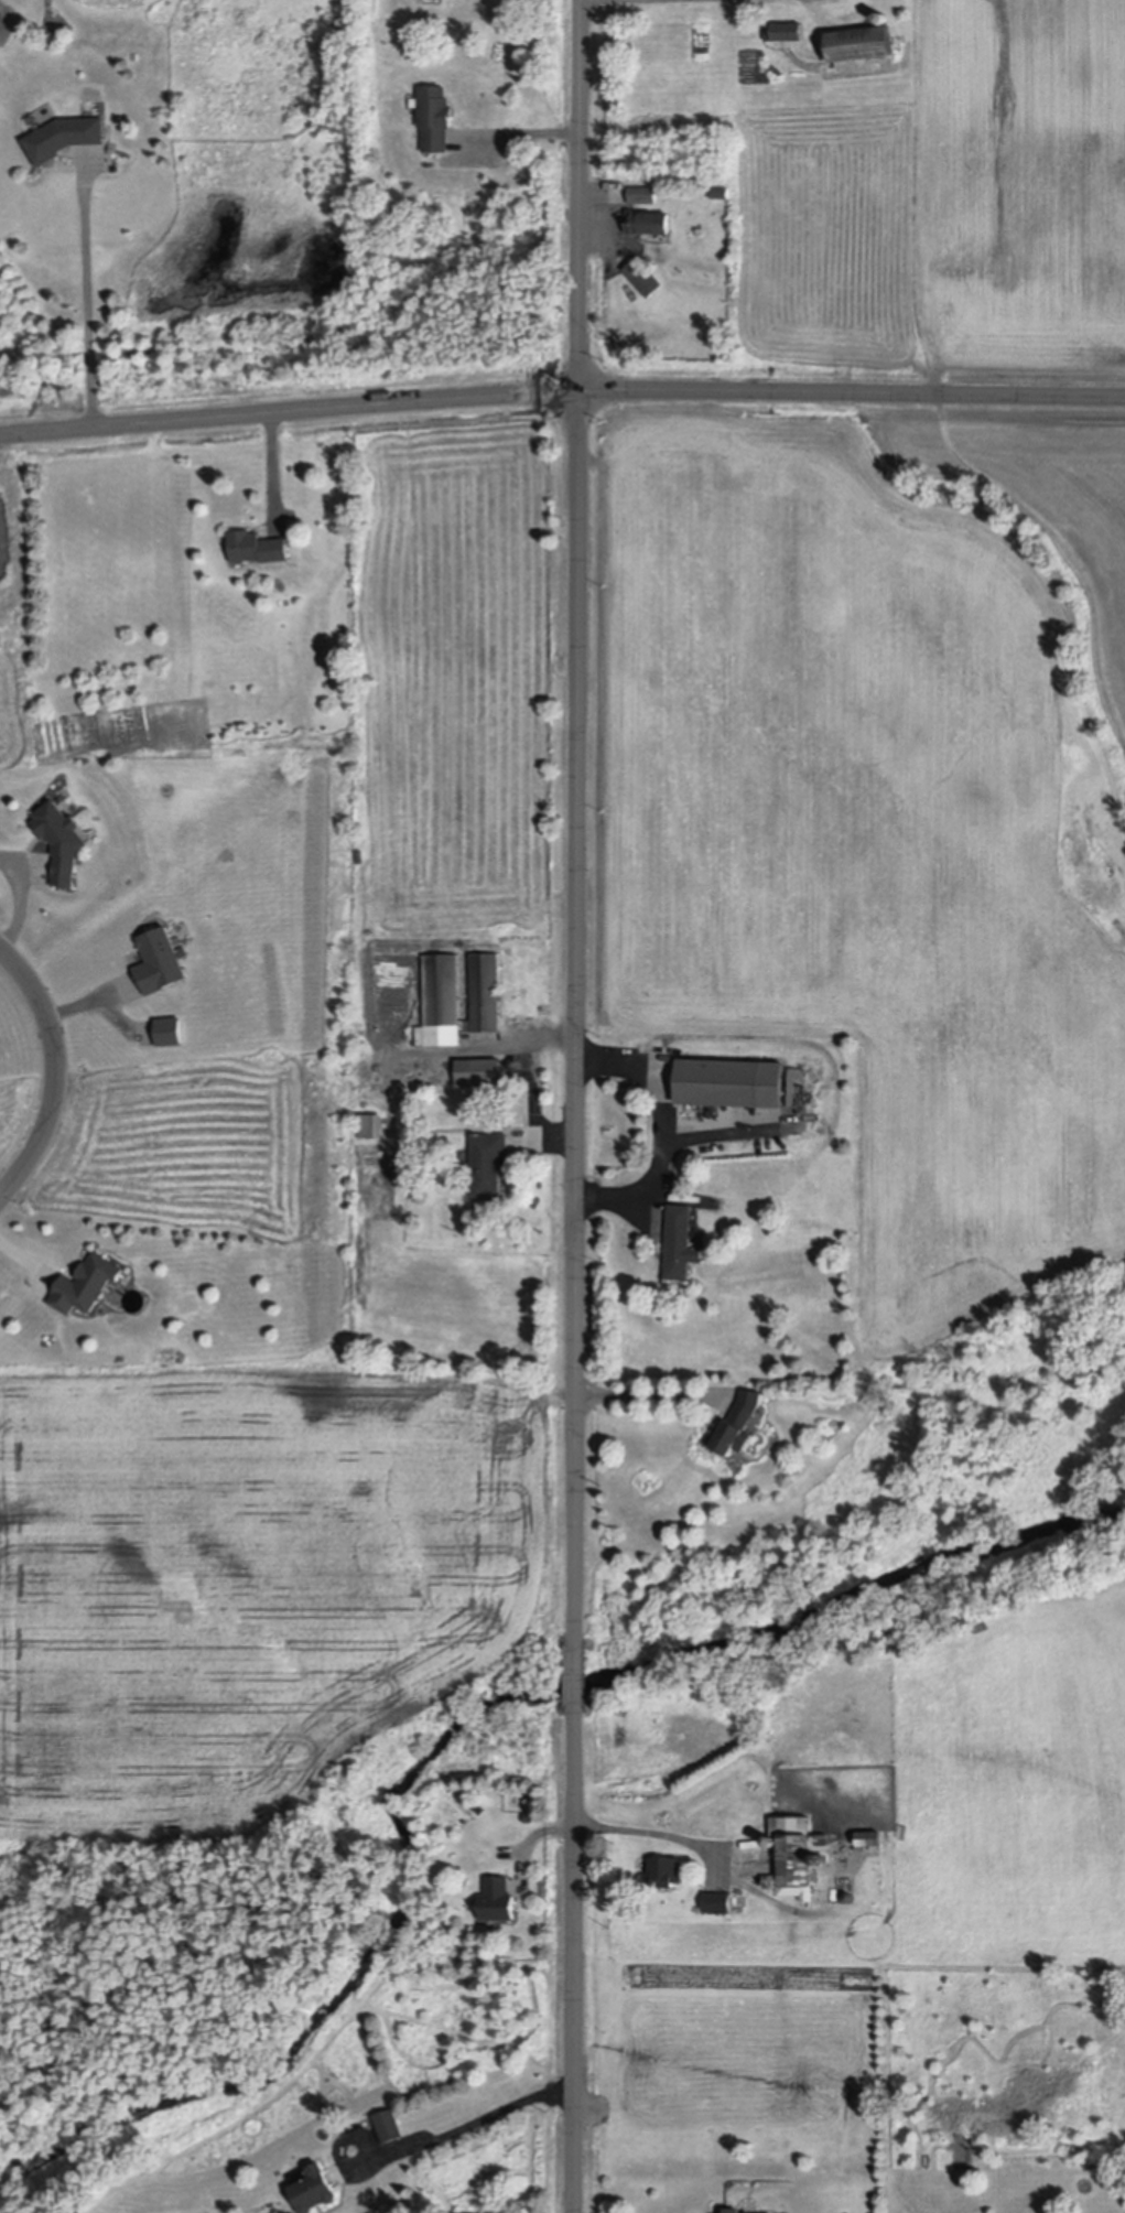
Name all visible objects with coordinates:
building: (884, 17)
building: (783, 30)
building: (857, 42)
building: (435, 117)
road: (519, 130)
building: (65, 136)
building: (721, 192)
building: (643, 194)
building: (648, 222)
building: (645, 277)
road: (90, 300)
road: (561, 392)
building: (257, 547)
building: (62, 842)
road: (31, 904)
building: (159, 962)
building: (458, 998)
road: (94, 1007)
building: (170, 1032)
road: (55, 1071)
building: (479, 1072)
building: (731, 1084)
road: (577, 1105)
building: (372, 1126)
road: (662, 1134)
building: (488, 1164)
building: (680, 1244)
building: (86, 1286)
road: (649, 1393)
building: (739, 1426)
building: (529, 1806)
building: (482, 1811)
building: (529, 1820)
road: (661, 1831)
building: (869, 1840)
building: (772, 1844)
building: (797, 1858)
building: (667, 1876)
building: (850, 1898)
building: (498, 1902)
building: (717, 1904)
road: (469, 2123)
building: (390, 2129)
building: (1083, 2188)
building: (315, 2194)

